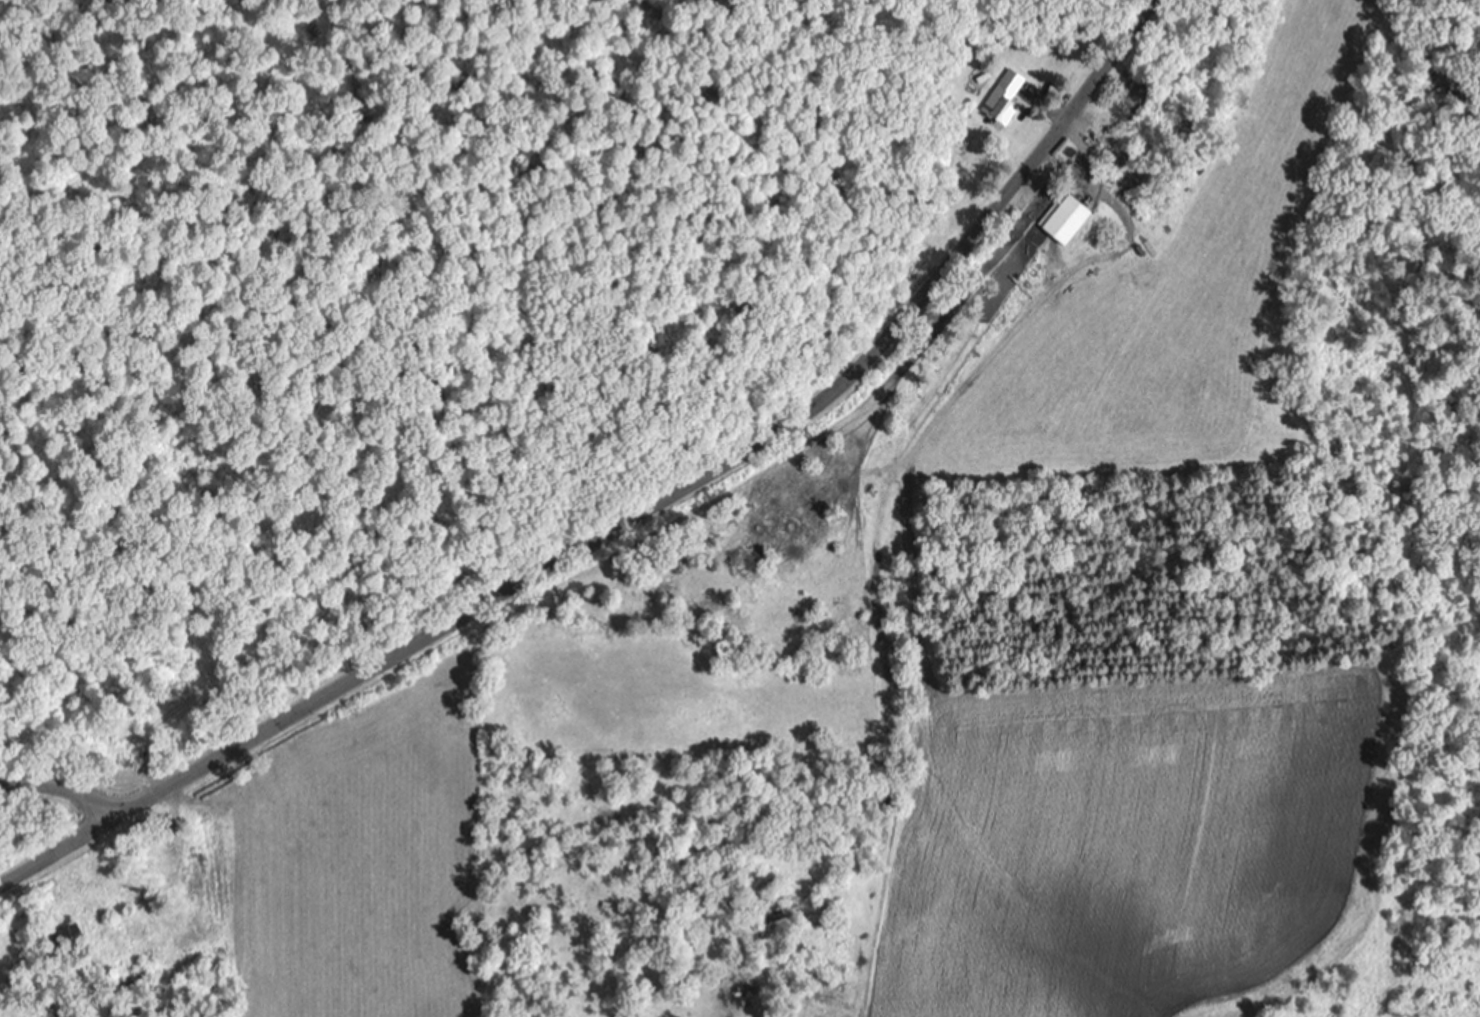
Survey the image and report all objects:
building: (1007, 96)
building: (1071, 218)
road: (638, 517)
road: (84, 788)
building: (74, 938)

